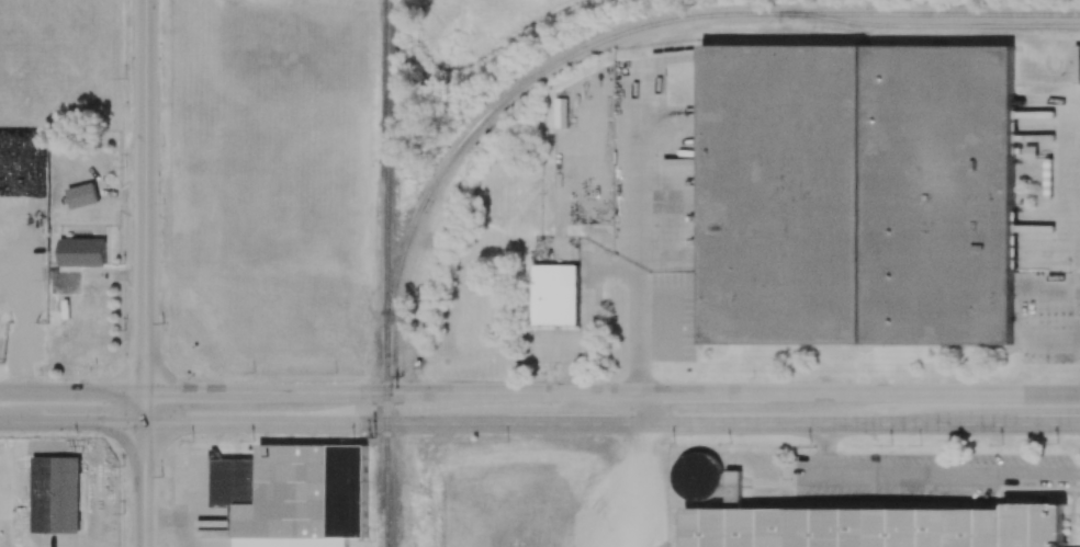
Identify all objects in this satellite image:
railway: (950, 15)
railway: (645, 29)
street lamp: (126, 78)
building: (23, 159)
building: (859, 194)
building: (2, 195)
road: (145, 196)
building: (23, 197)
street lamp: (162, 204)
road: (634, 231)
building: (23, 235)
building: (82, 251)
railway: (387, 273)
building: (555, 295)
road: (588, 316)
street lamp: (123, 330)
road: (545, 353)
street lamp: (252, 373)
street lamp: (42, 374)
road: (72, 391)
road: (218, 392)
road: (686, 394)
road: (12, 421)
road: (83, 422)
road: (611, 425)
street lamp: (76, 435)
street lamp: (194, 437)
street lamp: (351, 438)
road: (144, 469)
road: (932, 471)
street lamp: (162, 476)
building: (700, 476)
building: (56, 494)
building: (293, 494)
street lamp: (124, 513)
building: (878, 526)

